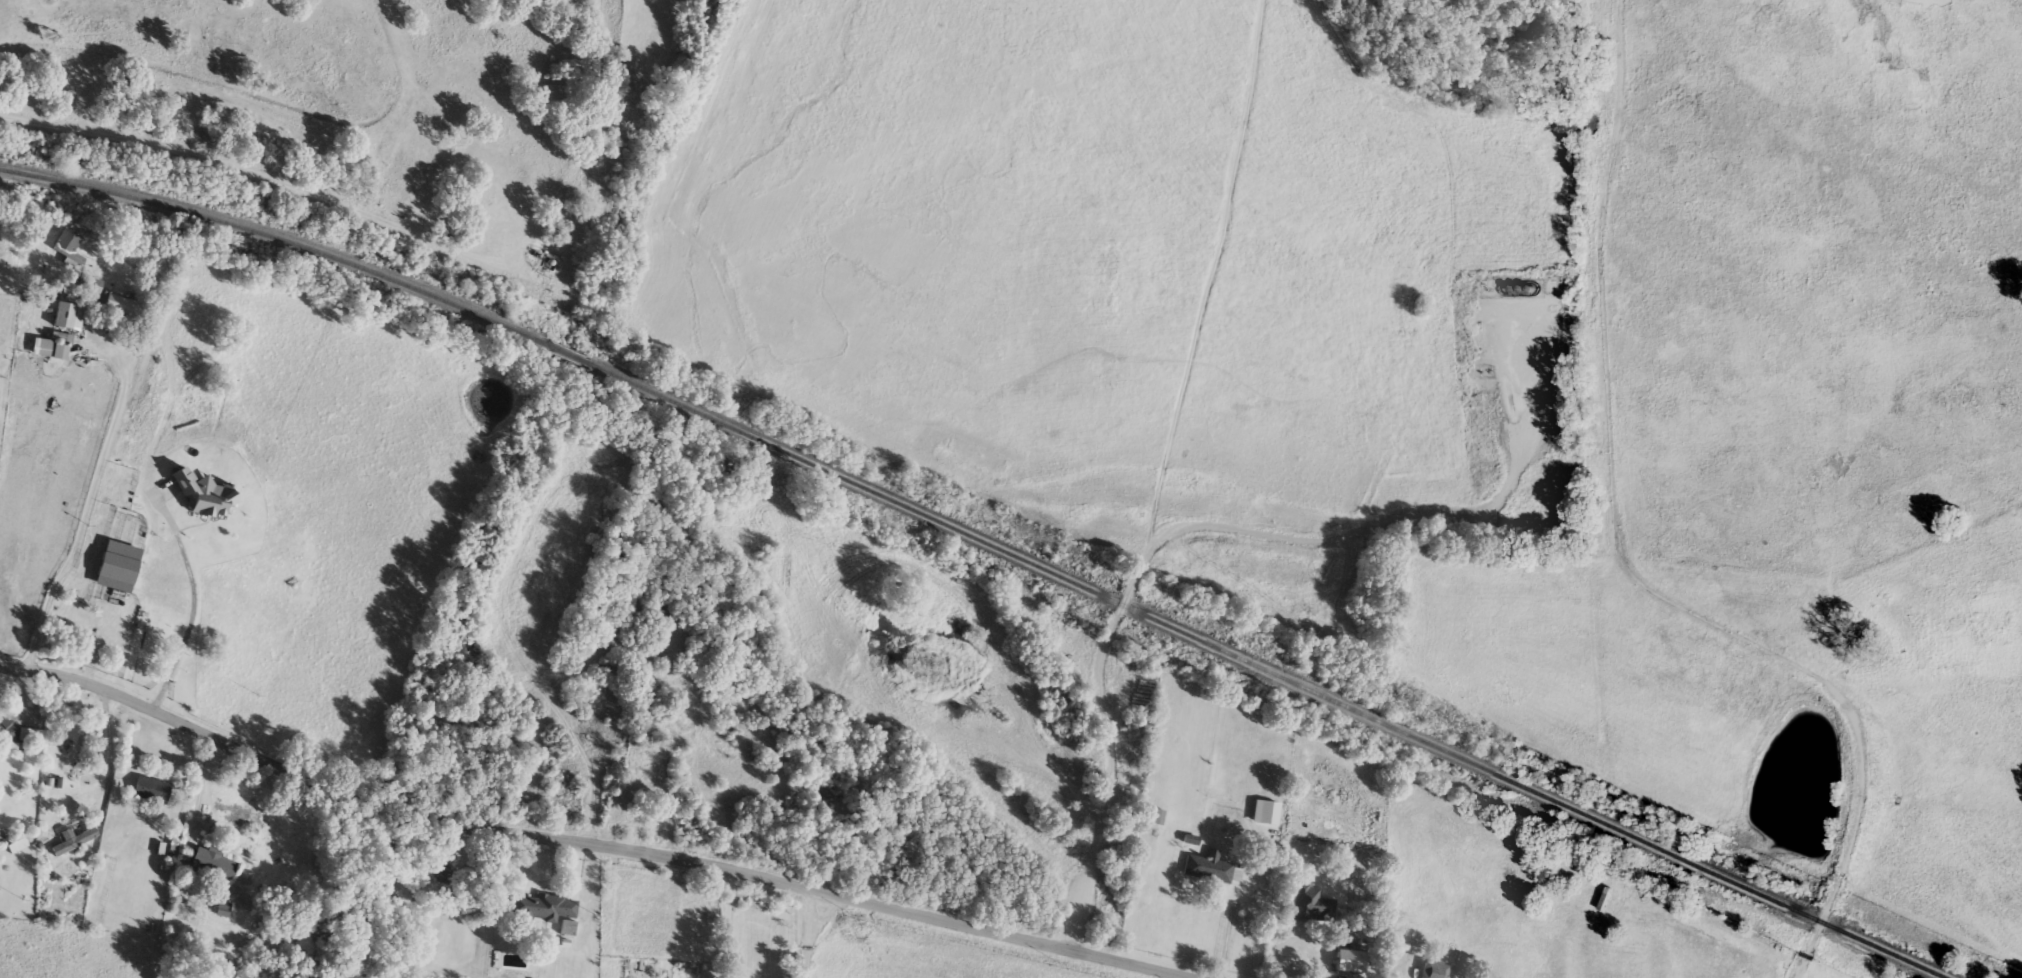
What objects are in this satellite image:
building: (66, 247)
building: (119, 307)
building: (67, 317)
building: (52, 347)
road: (1607, 429)
road: (1520, 465)
building: (203, 496)
road: (86, 511)
railway: (982, 542)
building: (118, 562)
building: (660, 610)
road: (1116, 615)
road: (191, 618)
building: (75, 731)
building: (14, 733)
building: (644, 759)
road: (104, 763)
road: (202, 783)
building: (150, 790)
building: (1156, 817)
building: (75, 835)
road: (582, 843)
road: (1861, 855)
building: (205, 862)
building: (1207, 868)
building: (539, 908)
road: (723, 911)
road: (1229, 925)
building: (567, 928)
road: (809, 934)
building: (1301, 953)
building: (1348, 961)
road: (712, 964)
road: (722, 964)
building: (1432, 969)

